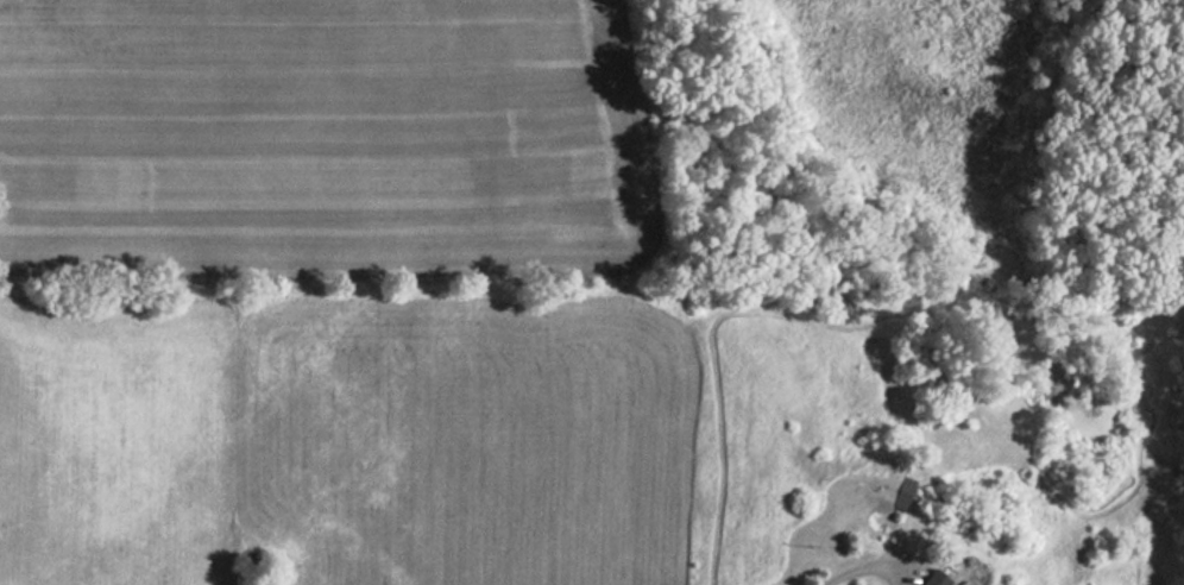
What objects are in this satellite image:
road: (862, 568)
building: (934, 578)

